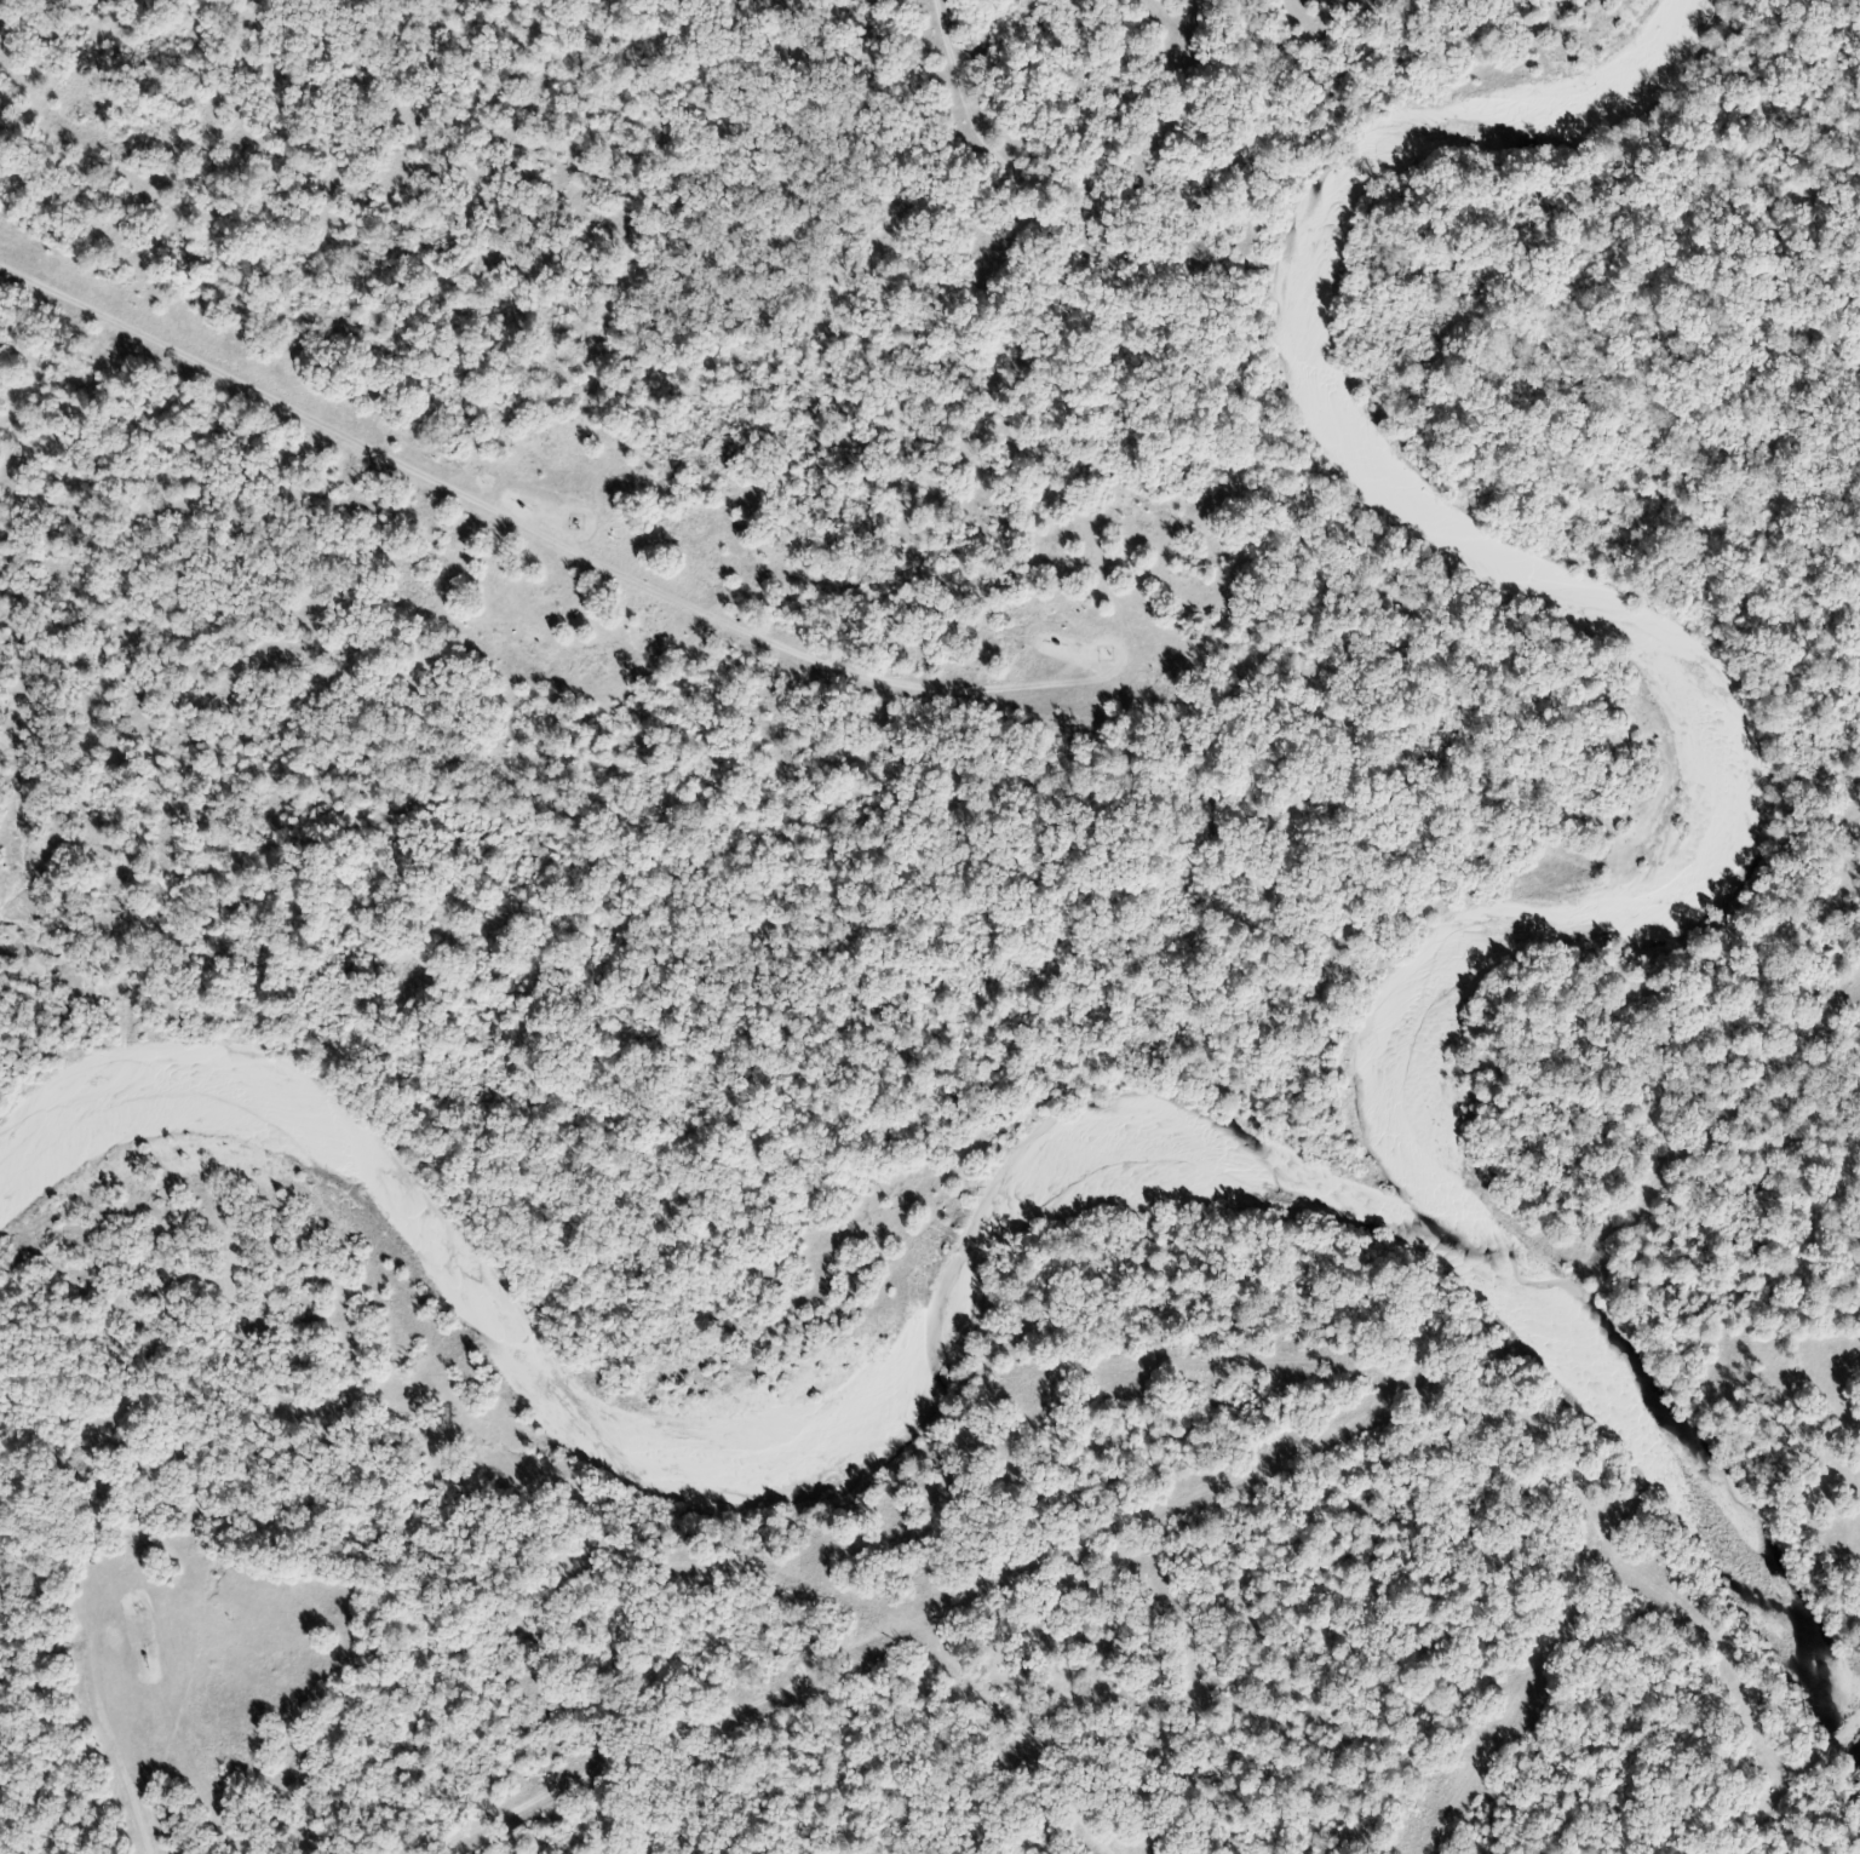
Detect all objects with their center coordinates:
road: (504, 516)
road: (107, 1741)

